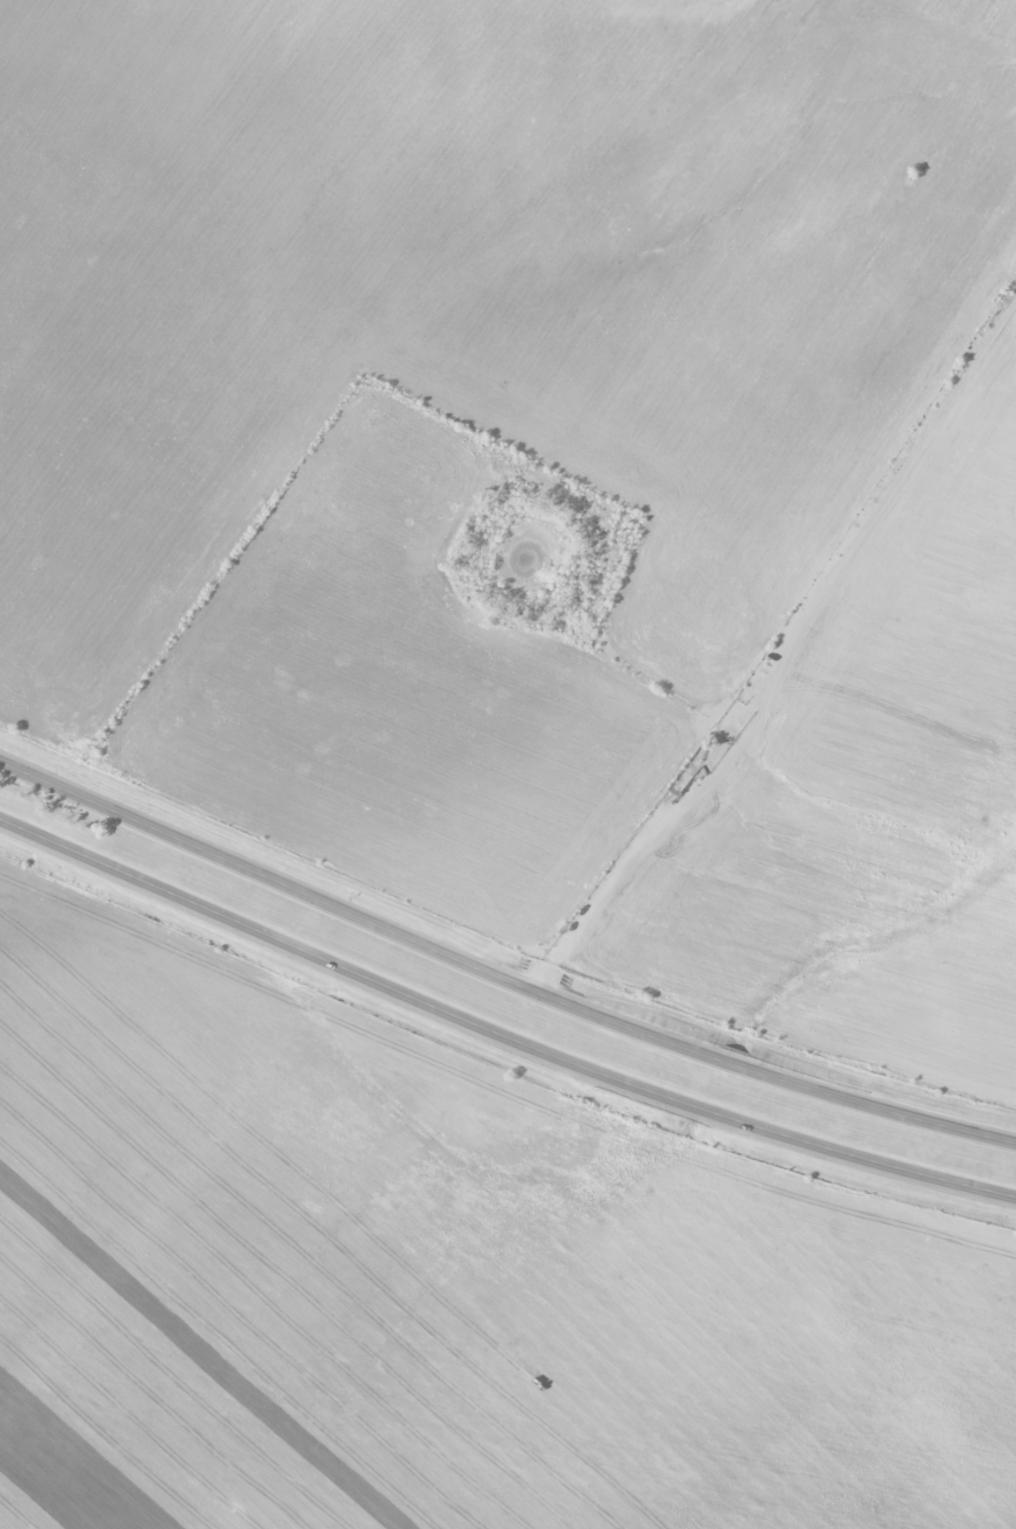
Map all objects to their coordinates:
road: (783, 654)
road: (500, 974)
road: (499, 1030)

